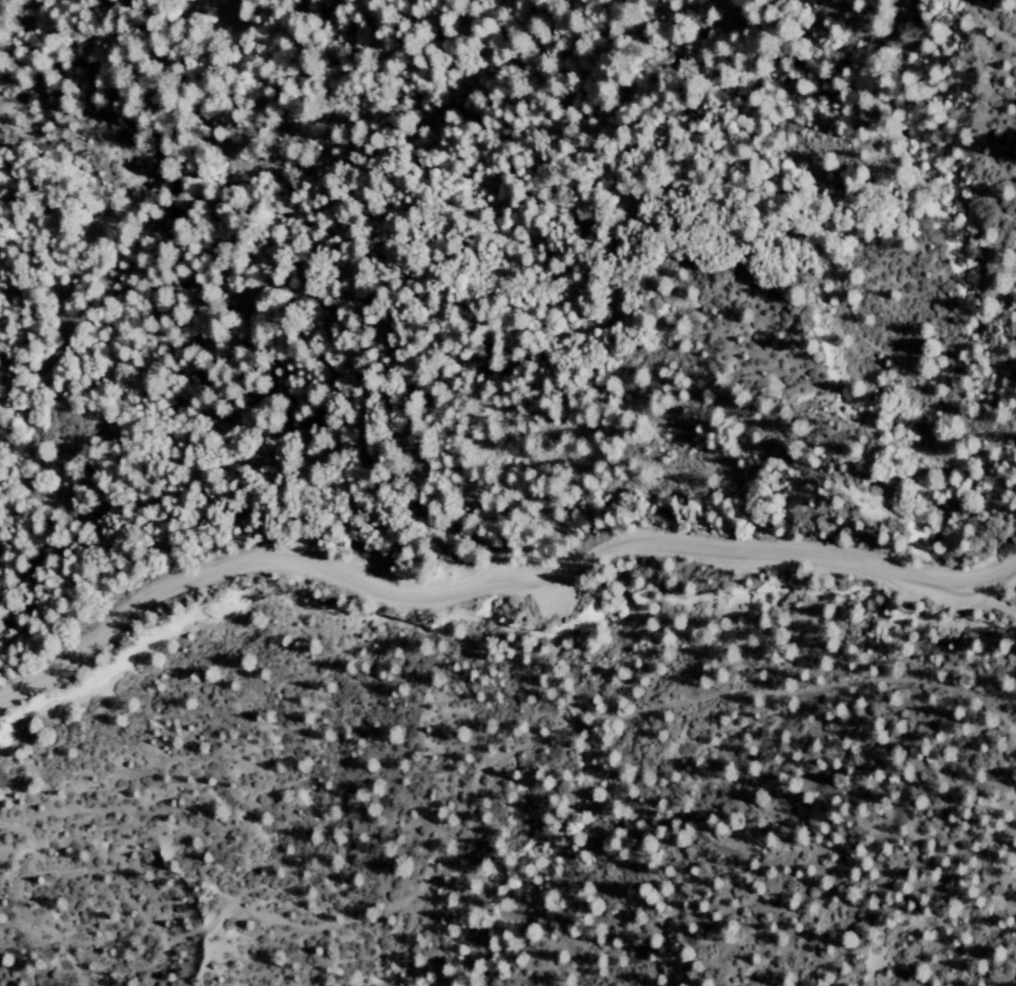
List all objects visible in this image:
road: (1000, 574)
road: (478, 593)

